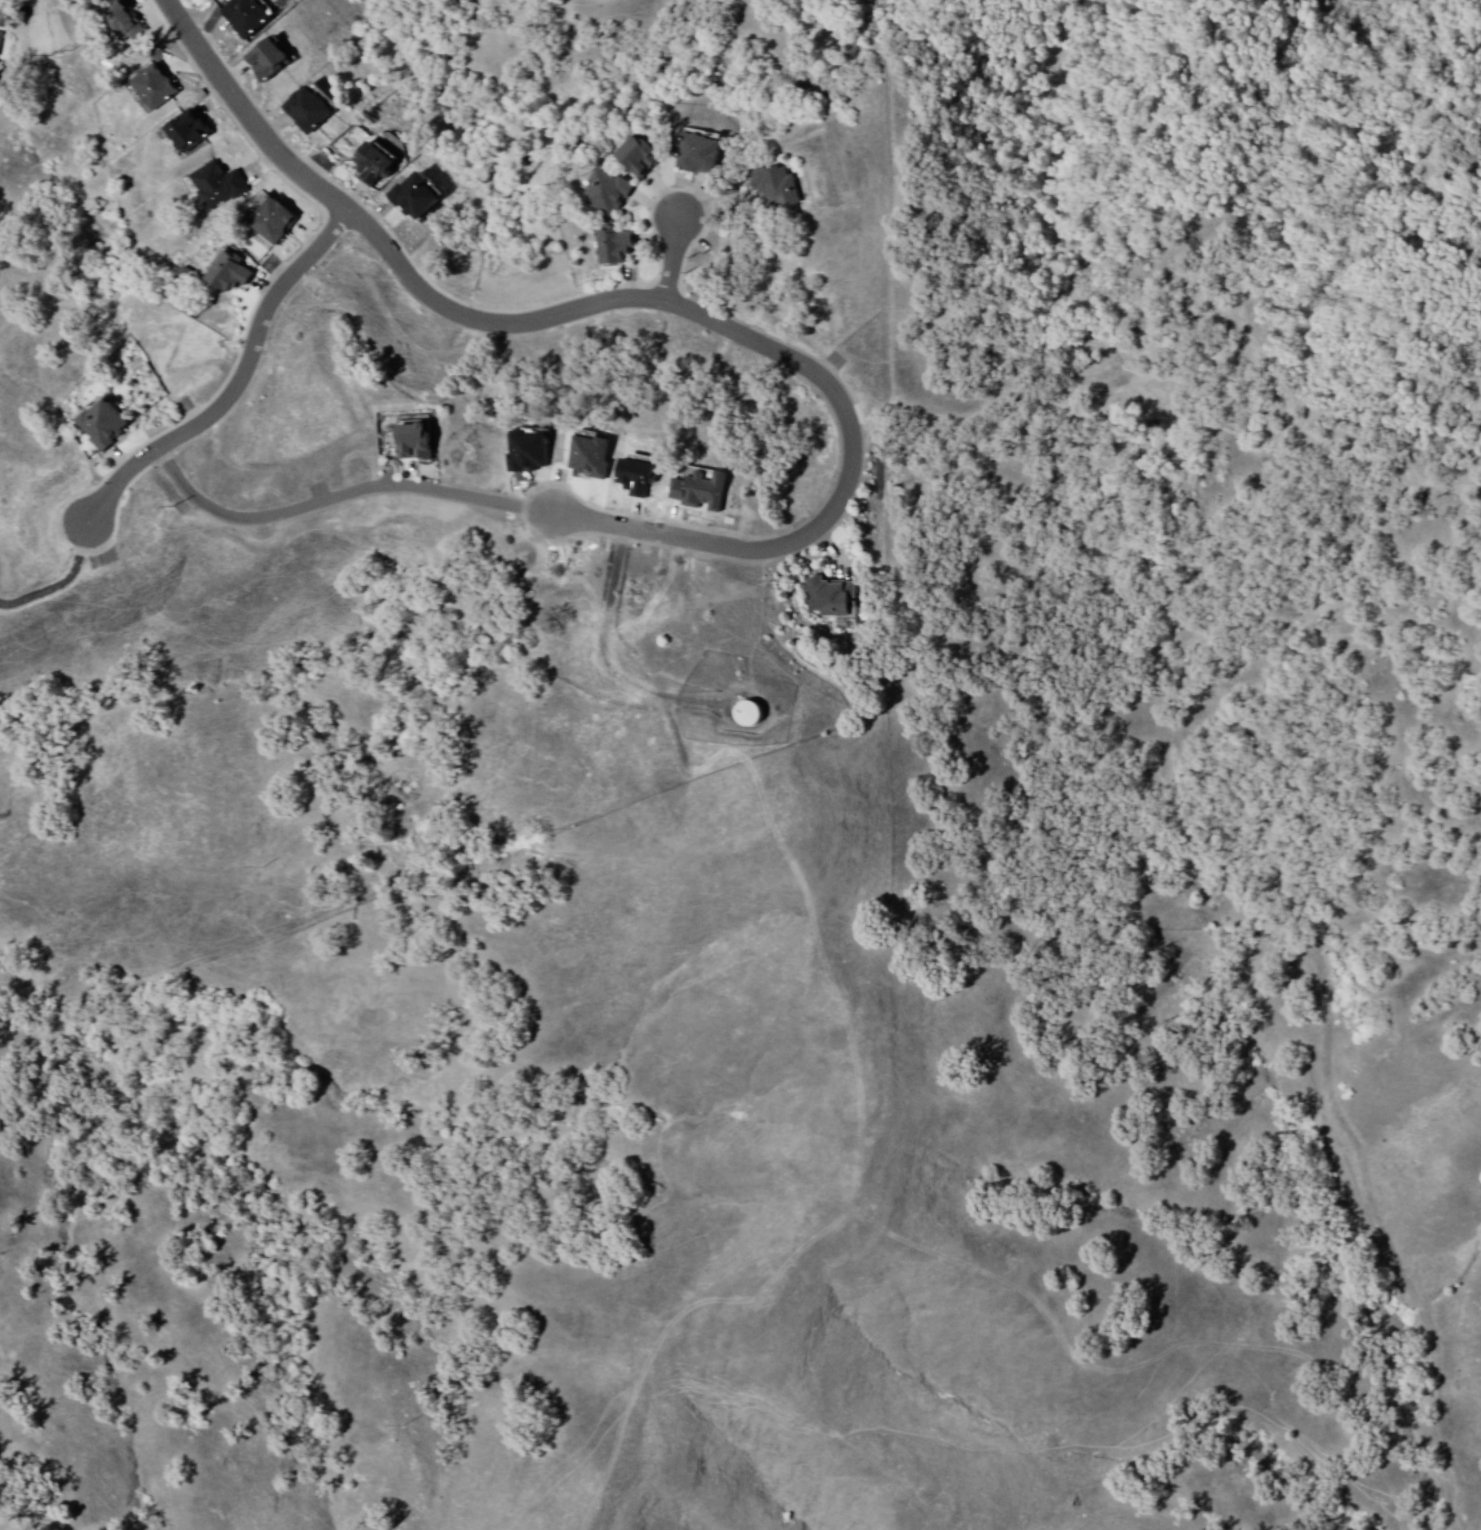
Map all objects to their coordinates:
building: (247, 18)
building: (122, 20)
building: (267, 61)
building: (153, 89)
building: (308, 111)
building: (187, 133)
building: (699, 155)
building: (638, 158)
building: (218, 187)
building: (776, 188)
building: (607, 194)
building: (415, 198)
building: (274, 222)
building: (616, 247)
road: (670, 268)
building: (230, 273)
road: (649, 305)
road: (1157, 331)
road: (235, 382)
building: (103, 426)
building: (415, 443)
building: (595, 449)
road: (341, 501)
building: (831, 598)
building: (740, 717)

